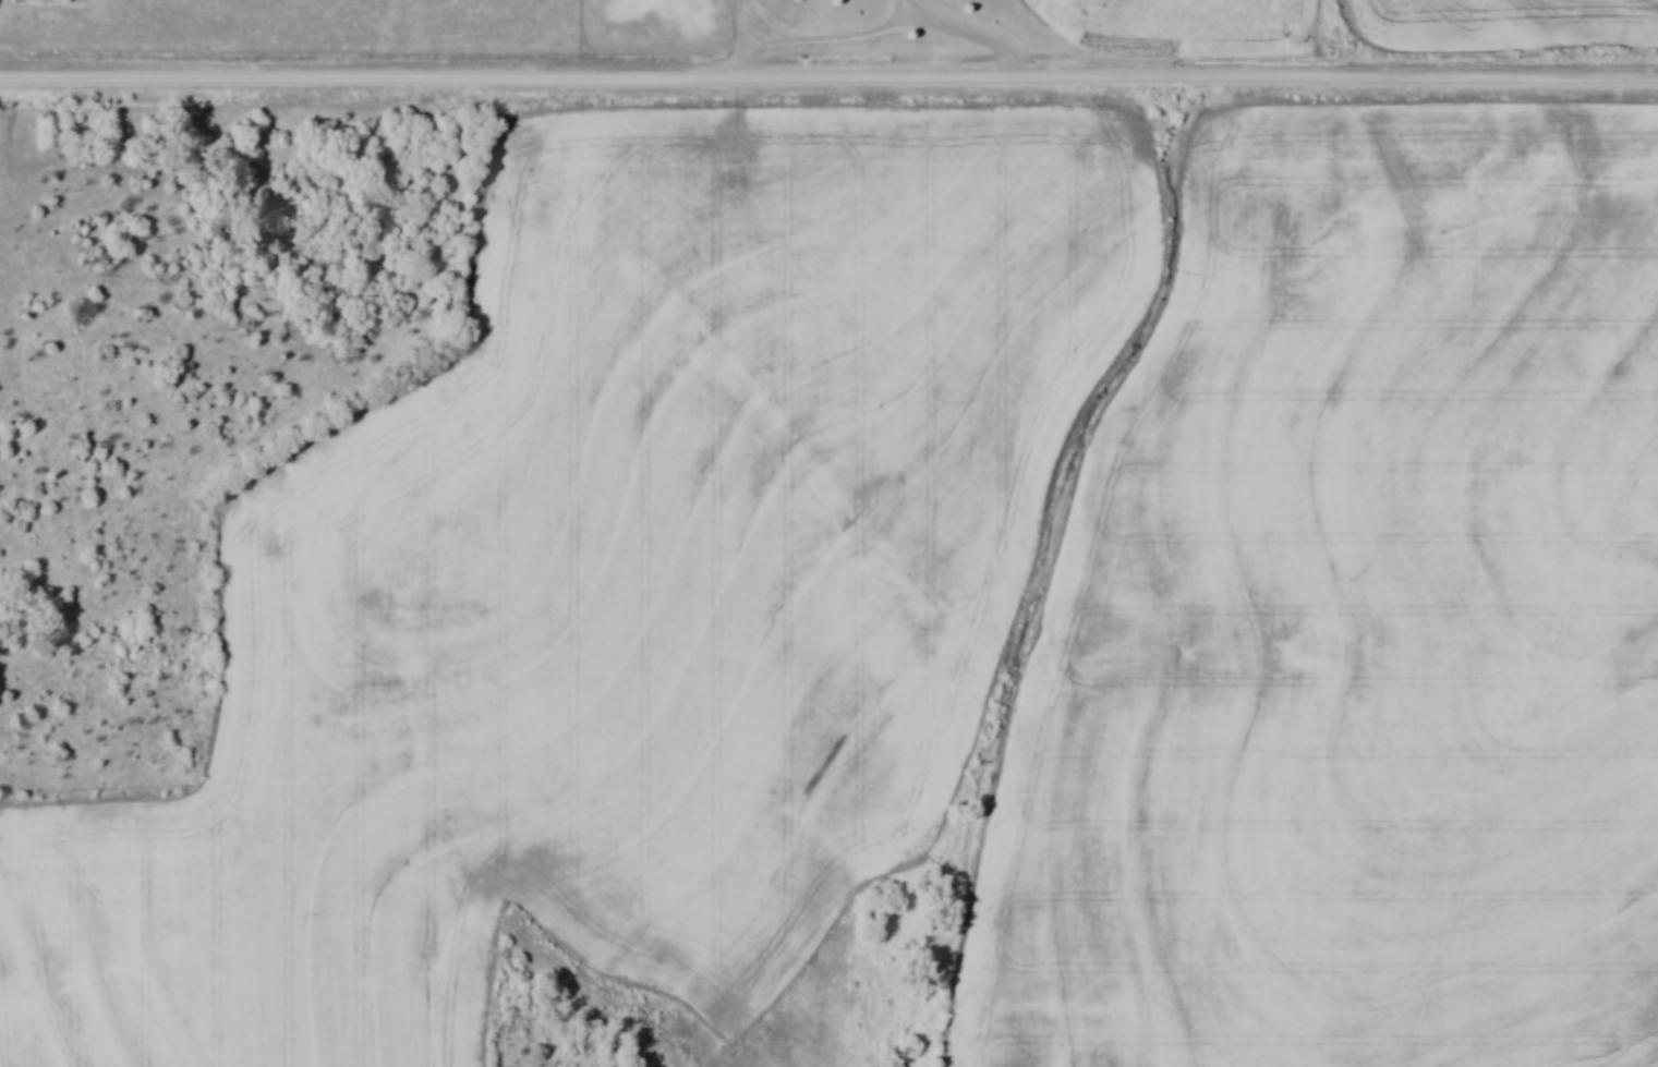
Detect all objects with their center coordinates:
road: (964, 37)
road: (741, 40)
road: (828, 82)

